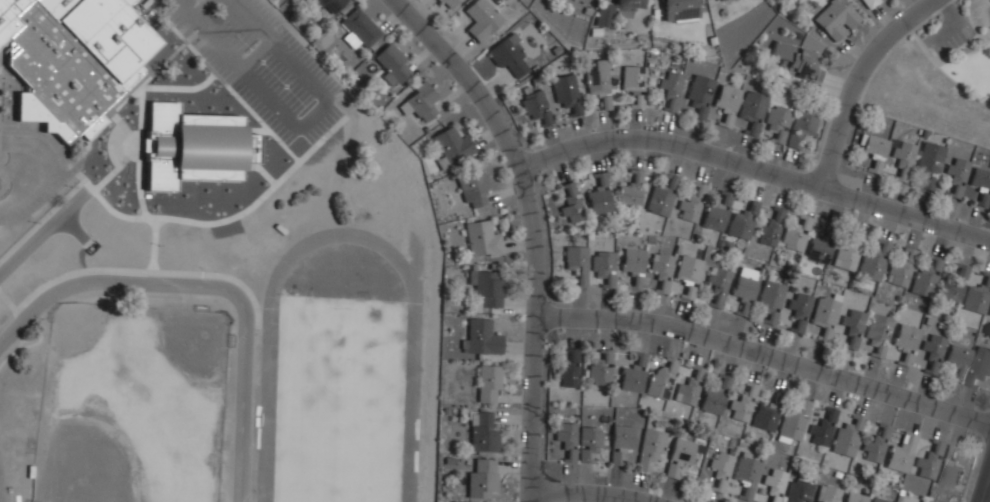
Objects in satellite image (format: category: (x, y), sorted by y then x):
building: (718, 0)
building: (583, 2)
building: (447, 3)
building: (870, 3)
building: (329, 4)
building: (630, 4)
building: (679, 10)
road: (245, 13)
building: (605, 15)
building: (834, 18)
building: (481, 19)
road: (954, 23)
road: (972, 24)
road: (201, 28)
building: (359, 29)
parking lot: (954, 41)
road: (892, 47)
road: (957, 49)
road: (963, 54)
building: (509, 57)
building: (70, 58)
building: (797, 61)
parking lot: (260, 63)
building: (392, 64)
road: (944, 72)
park: (938, 75)
road: (470, 79)
road: (861, 79)
building: (597, 80)
building: (634, 84)
building: (671, 89)
building: (566, 93)
building: (699, 94)
building: (726, 100)
building: (418, 103)
building: (535, 107)
building: (753, 110)
building: (778, 122)
building: (802, 125)
building: (193, 146)
building: (452, 147)
building: (887, 155)
building: (931, 158)
road: (760, 168)
building: (957, 174)
building: (981, 186)
building: (473, 190)
building: (631, 190)
building: (599, 195)
building: (661, 197)
building: (570, 202)
building: (690, 208)
building: (717, 213)
building: (741, 223)
building: (771, 229)
road: (39, 234)
building: (795, 236)
building: (482, 240)
building: (819, 251)
building: (848, 253)
building: (873, 261)
building: (576, 262)
building: (633, 266)
building: (604, 267)
building: (900, 271)
building: (662, 272)
building: (688, 275)
building: (925, 278)
building: (954, 283)
building: (745, 285)
road: (212, 286)
building: (717, 287)
building: (487, 289)
building: (977, 296)
building: (771, 301)
building: (798, 310)
building: (989, 312)
building: (826, 315)
building: (853, 325)
building: (878, 334)
road: (540, 335)
building: (479, 337)
building: (906, 343)
road: (769, 352)
building: (933, 355)
building: (959, 361)
track: (268, 366)
building: (980, 367)
building: (601, 369)
building: (569, 371)
building: (633, 375)
park: (340, 379)
building: (661, 380)
building: (488, 382)
building: (689, 388)
building: (715, 396)
park: (130, 405)
building: (742, 405)
building: (765, 417)
building: (793, 423)
building: (823, 429)
building: (482, 433)
building: (847, 437)
building: (622, 439)
building: (567, 440)
building: (589, 442)
building: (876, 445)
building: (651, 449)
building: (901, 454)
building: (679, 456)
building: (929, 461)
building: (949, 469)
building: (721, 470)
building: (747, 474)
building: (482, 479)
building: (774, 483)
road: (984, 485)
road: (604, 490)
building: (799, 491)
building: (827, 494)
building: (854, 497)
building: (876, 501)

